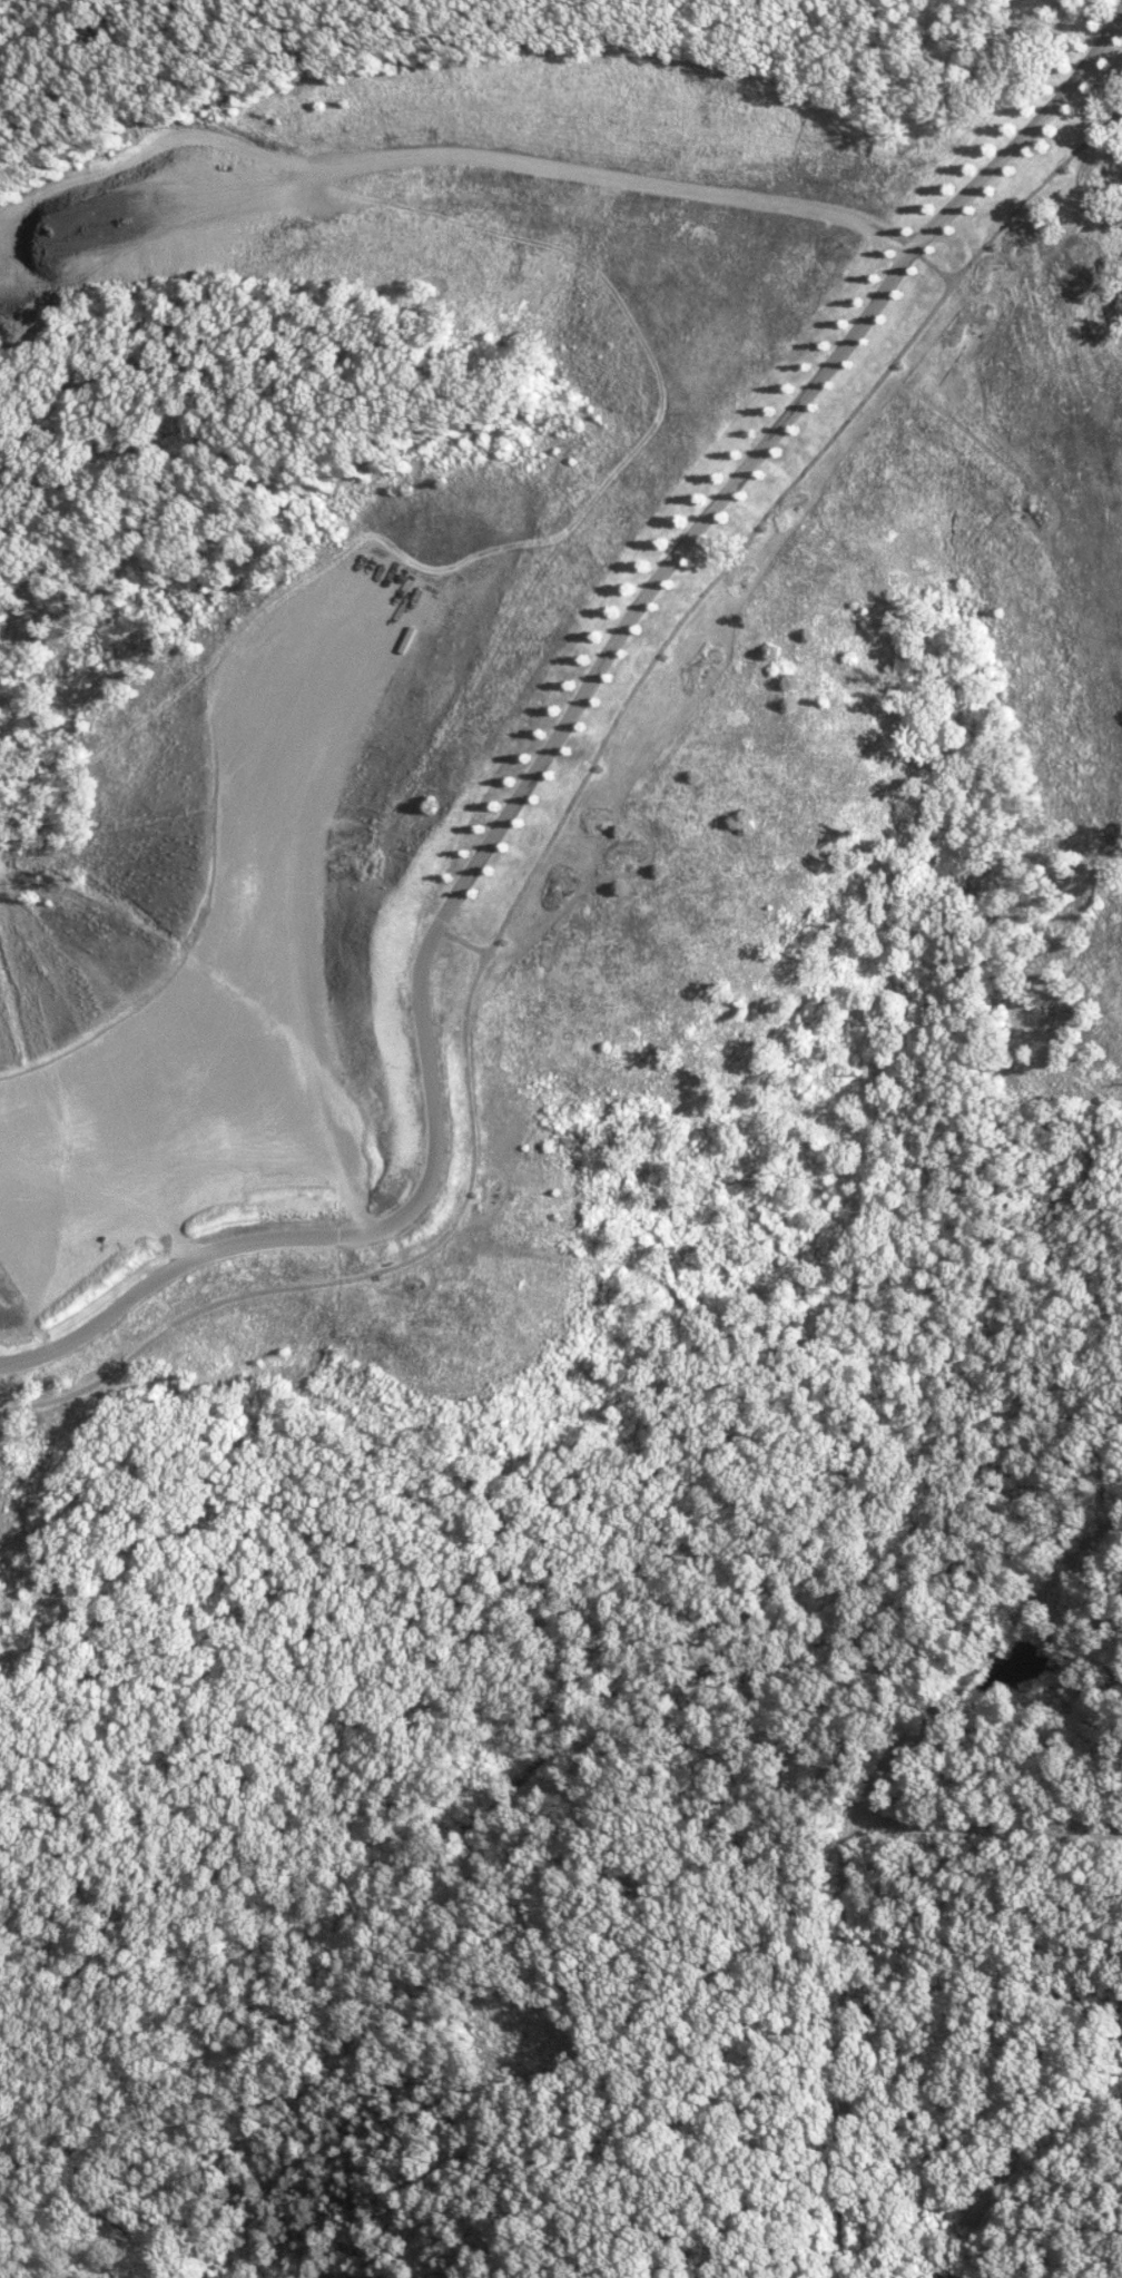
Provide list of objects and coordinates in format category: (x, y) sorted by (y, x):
road: (542, 756)
road: (988, 1648)
road: (988, 1825)
road: (843, 2035)

